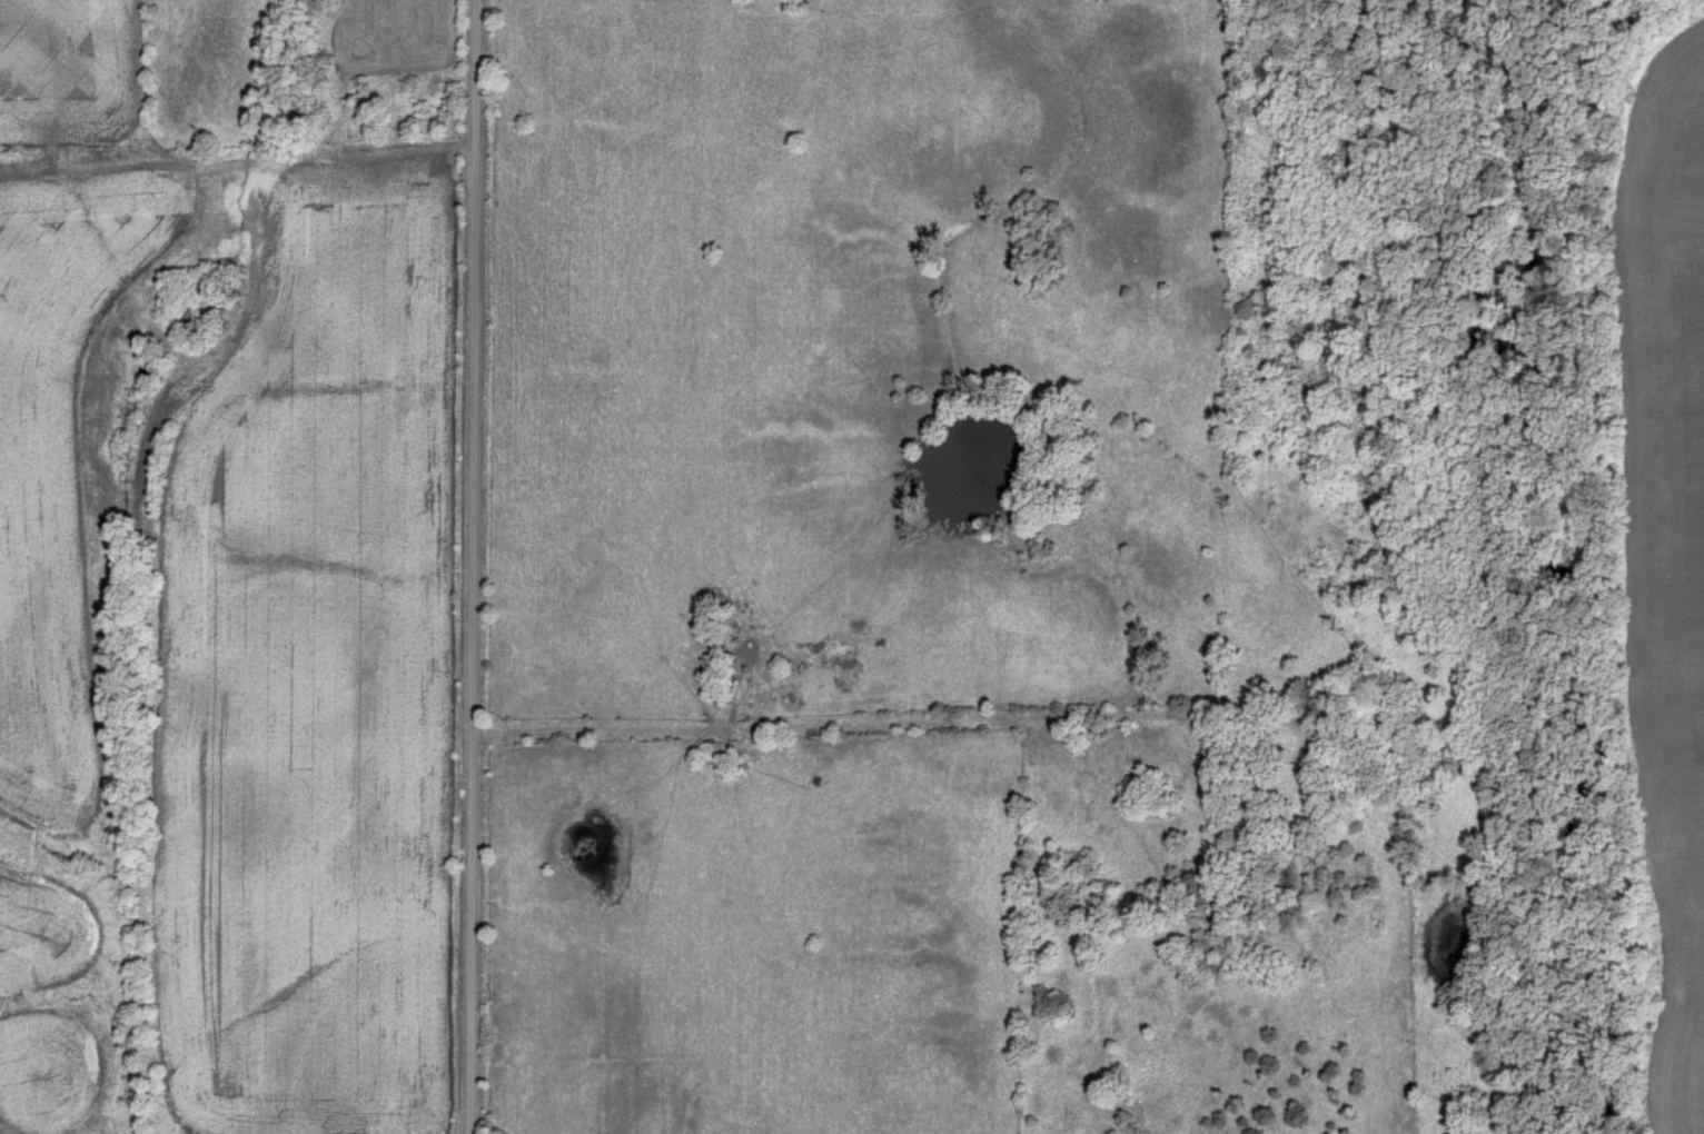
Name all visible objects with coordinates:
road: (455, 567)
road: (808, 692)

